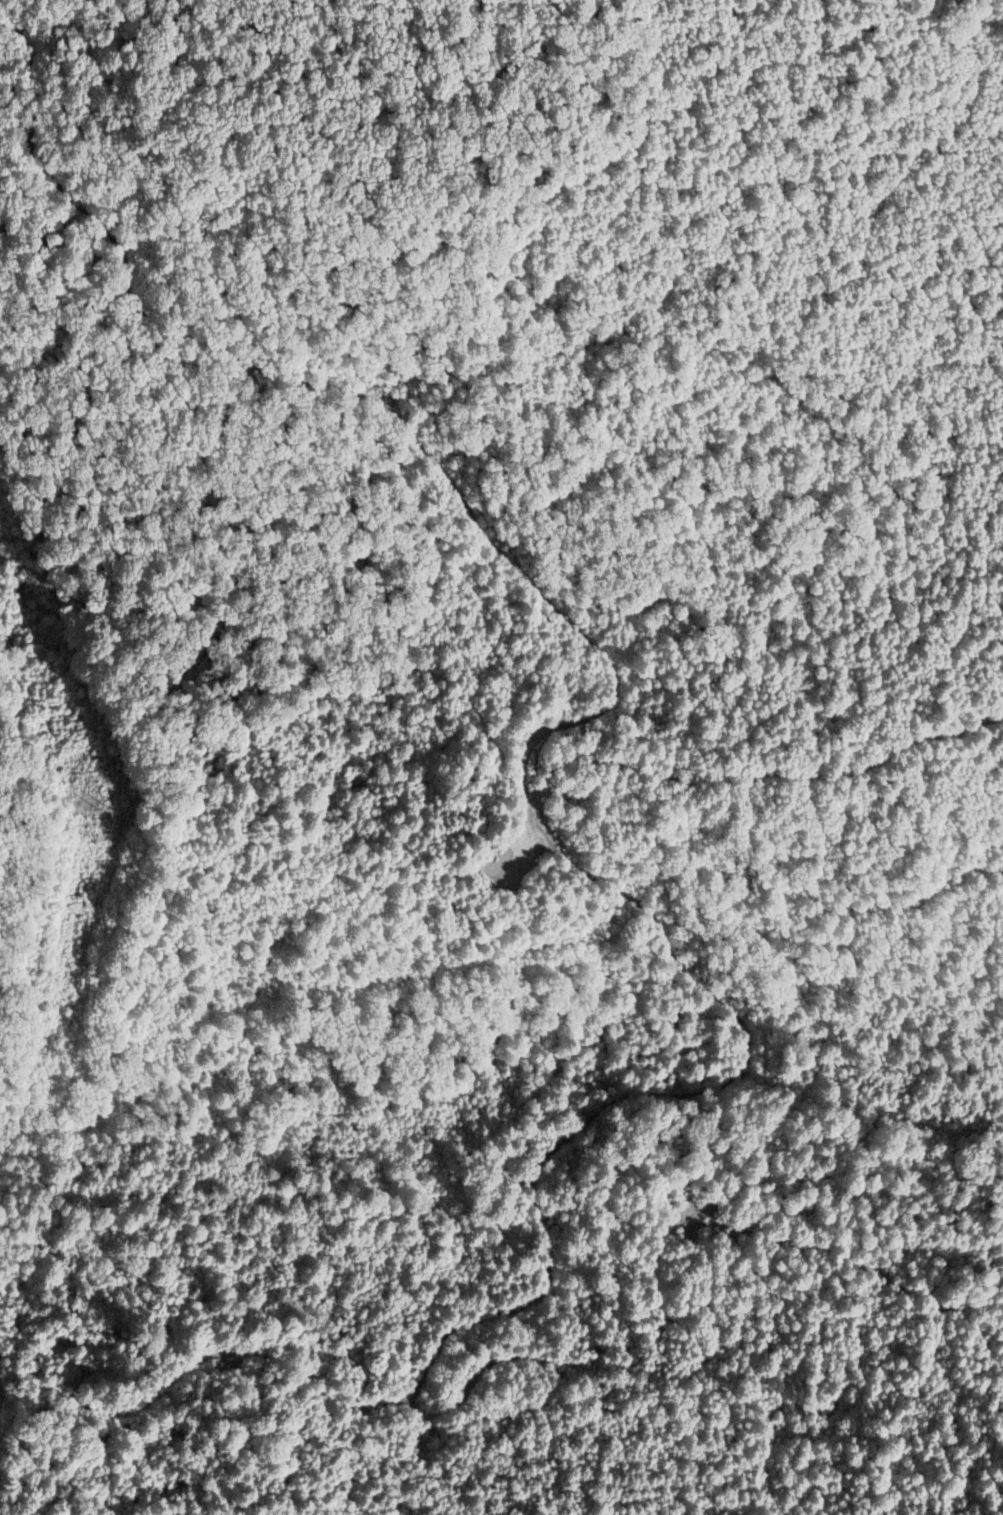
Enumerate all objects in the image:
road: (128, 303)
power tower: (106, 803)
power tower: (26, 1140)

